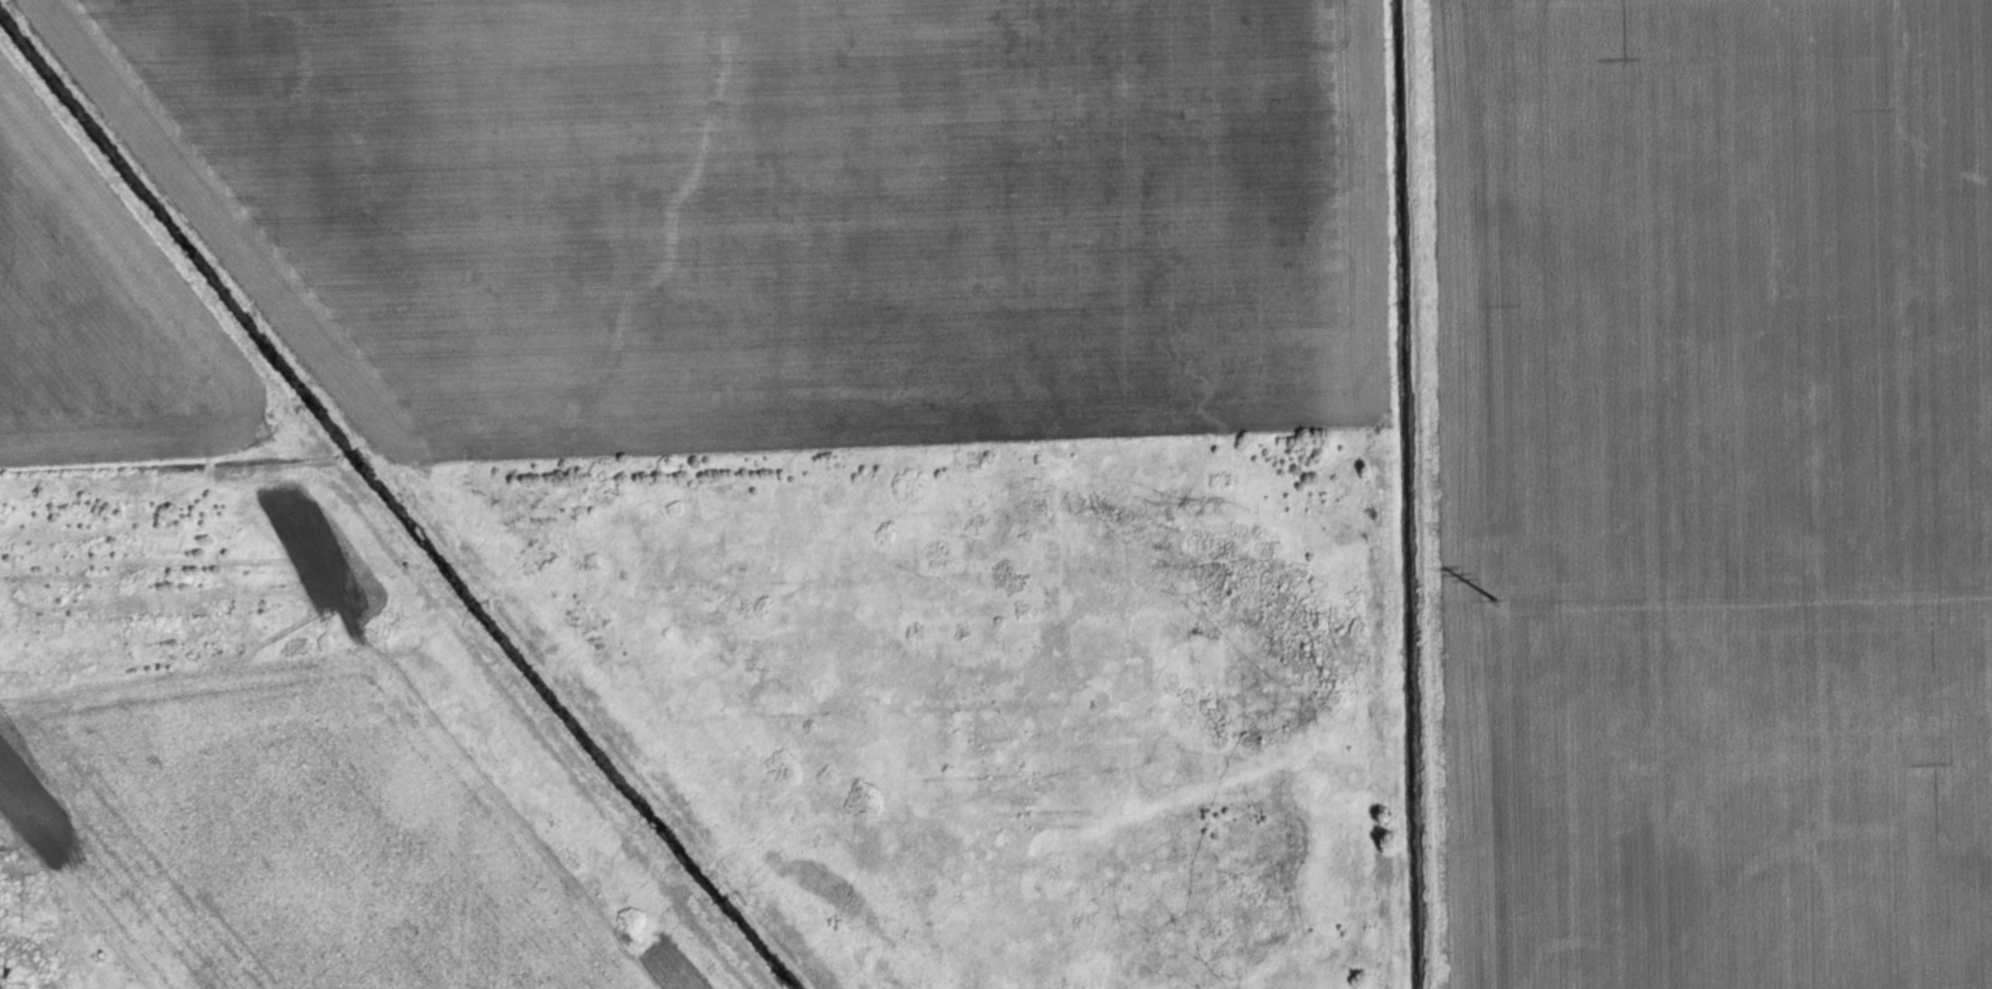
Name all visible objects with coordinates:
power tower: (1493, 594)

